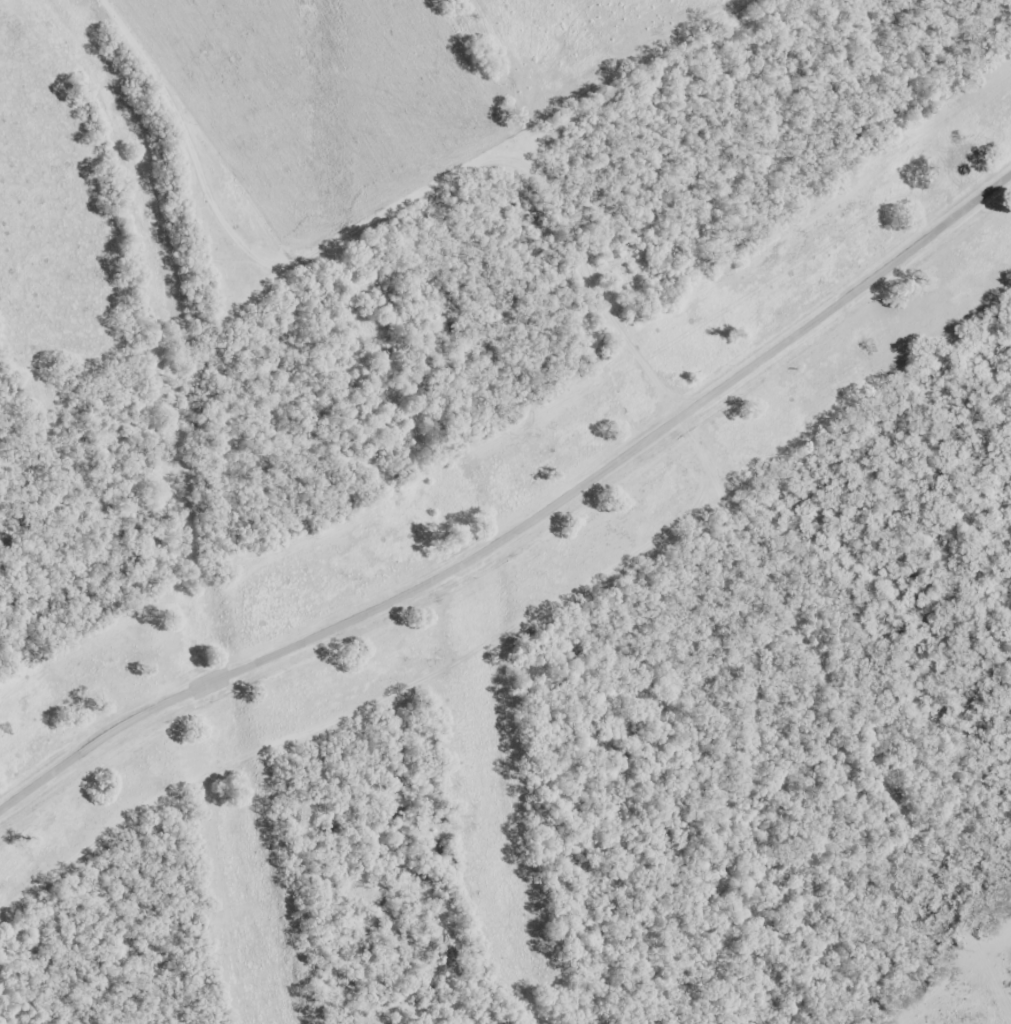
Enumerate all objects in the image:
road: (408, 206)
road: (518, 540)

